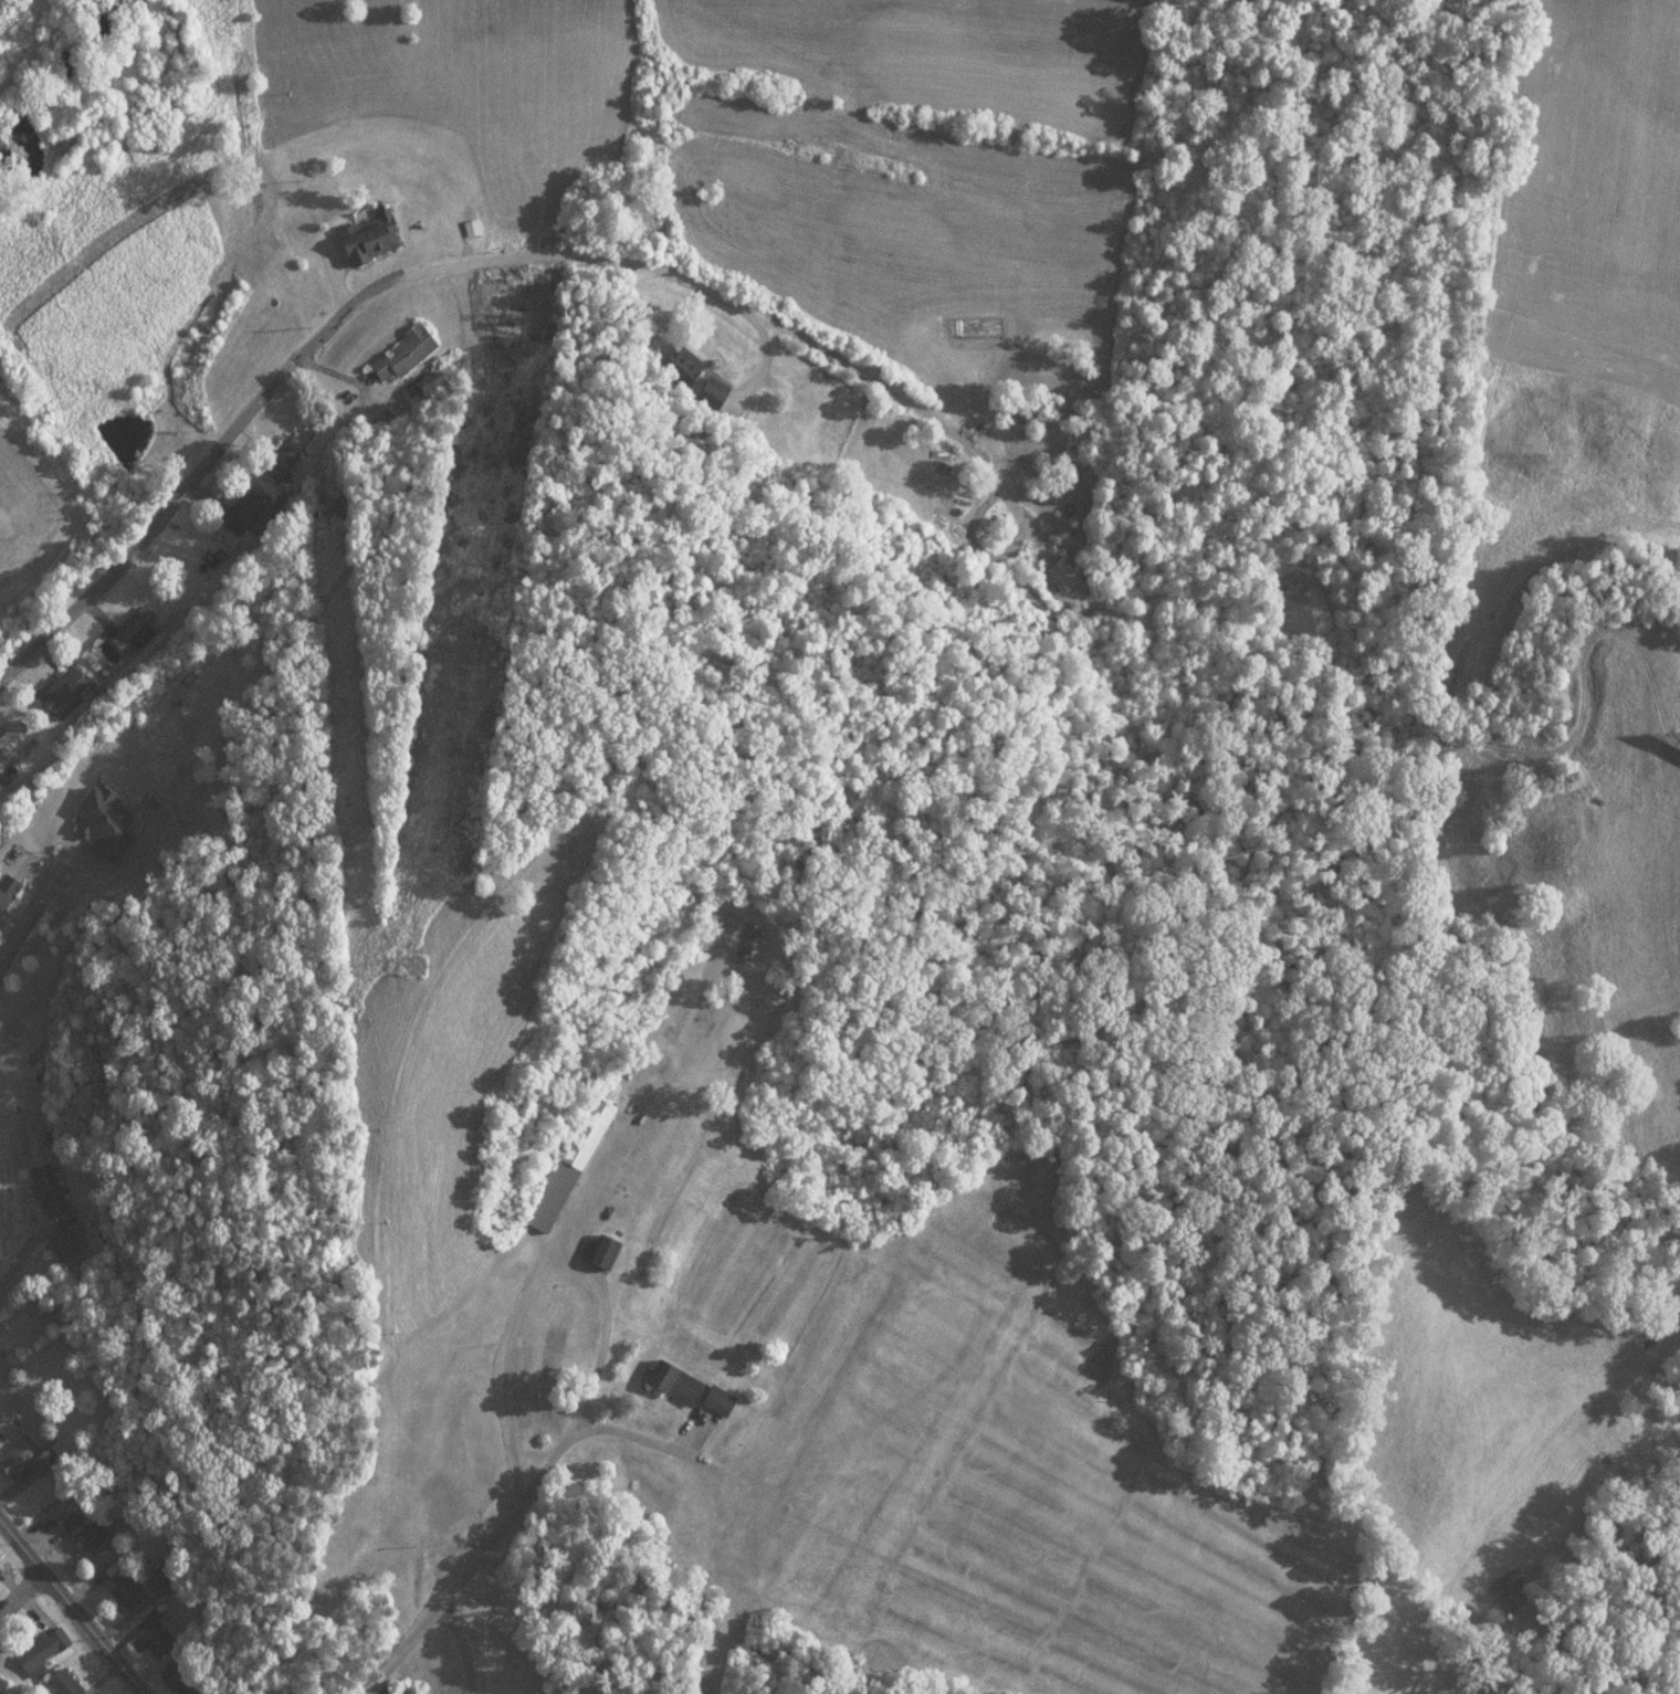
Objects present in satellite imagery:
building: (470, 228)
building: (370, 239)
road: (342, 309)
building: (403, 353)
building: (253, 503)
power tower: (473, 569)
building: (133, 628)
building: (66, 693)
building: (14, 739)
building: (104, 819)
building: (7, 894)
road: (21, 922)
power tower: (419, 966)
building: (568, 1169)
building: (48, 1190)
building: (62, 1244)
building: (607, 1250)
road: (528, 1285)
building: (568, 1335)
building: (678, 1381)
building: (720, 1400)
building: (0, 1443)
building: (24, 1461)
building: (92, 1535)
road: (474, 1556)
building: (161, 1578)
road: (20, 1591)
building: (125, 1592)
road: (75, 1612)
building: (158, 1640)
road: (459, 1646)
building: (39, 1653)
building: (183, 1677)
building: (65, 1683)
building: (2, 1685)

